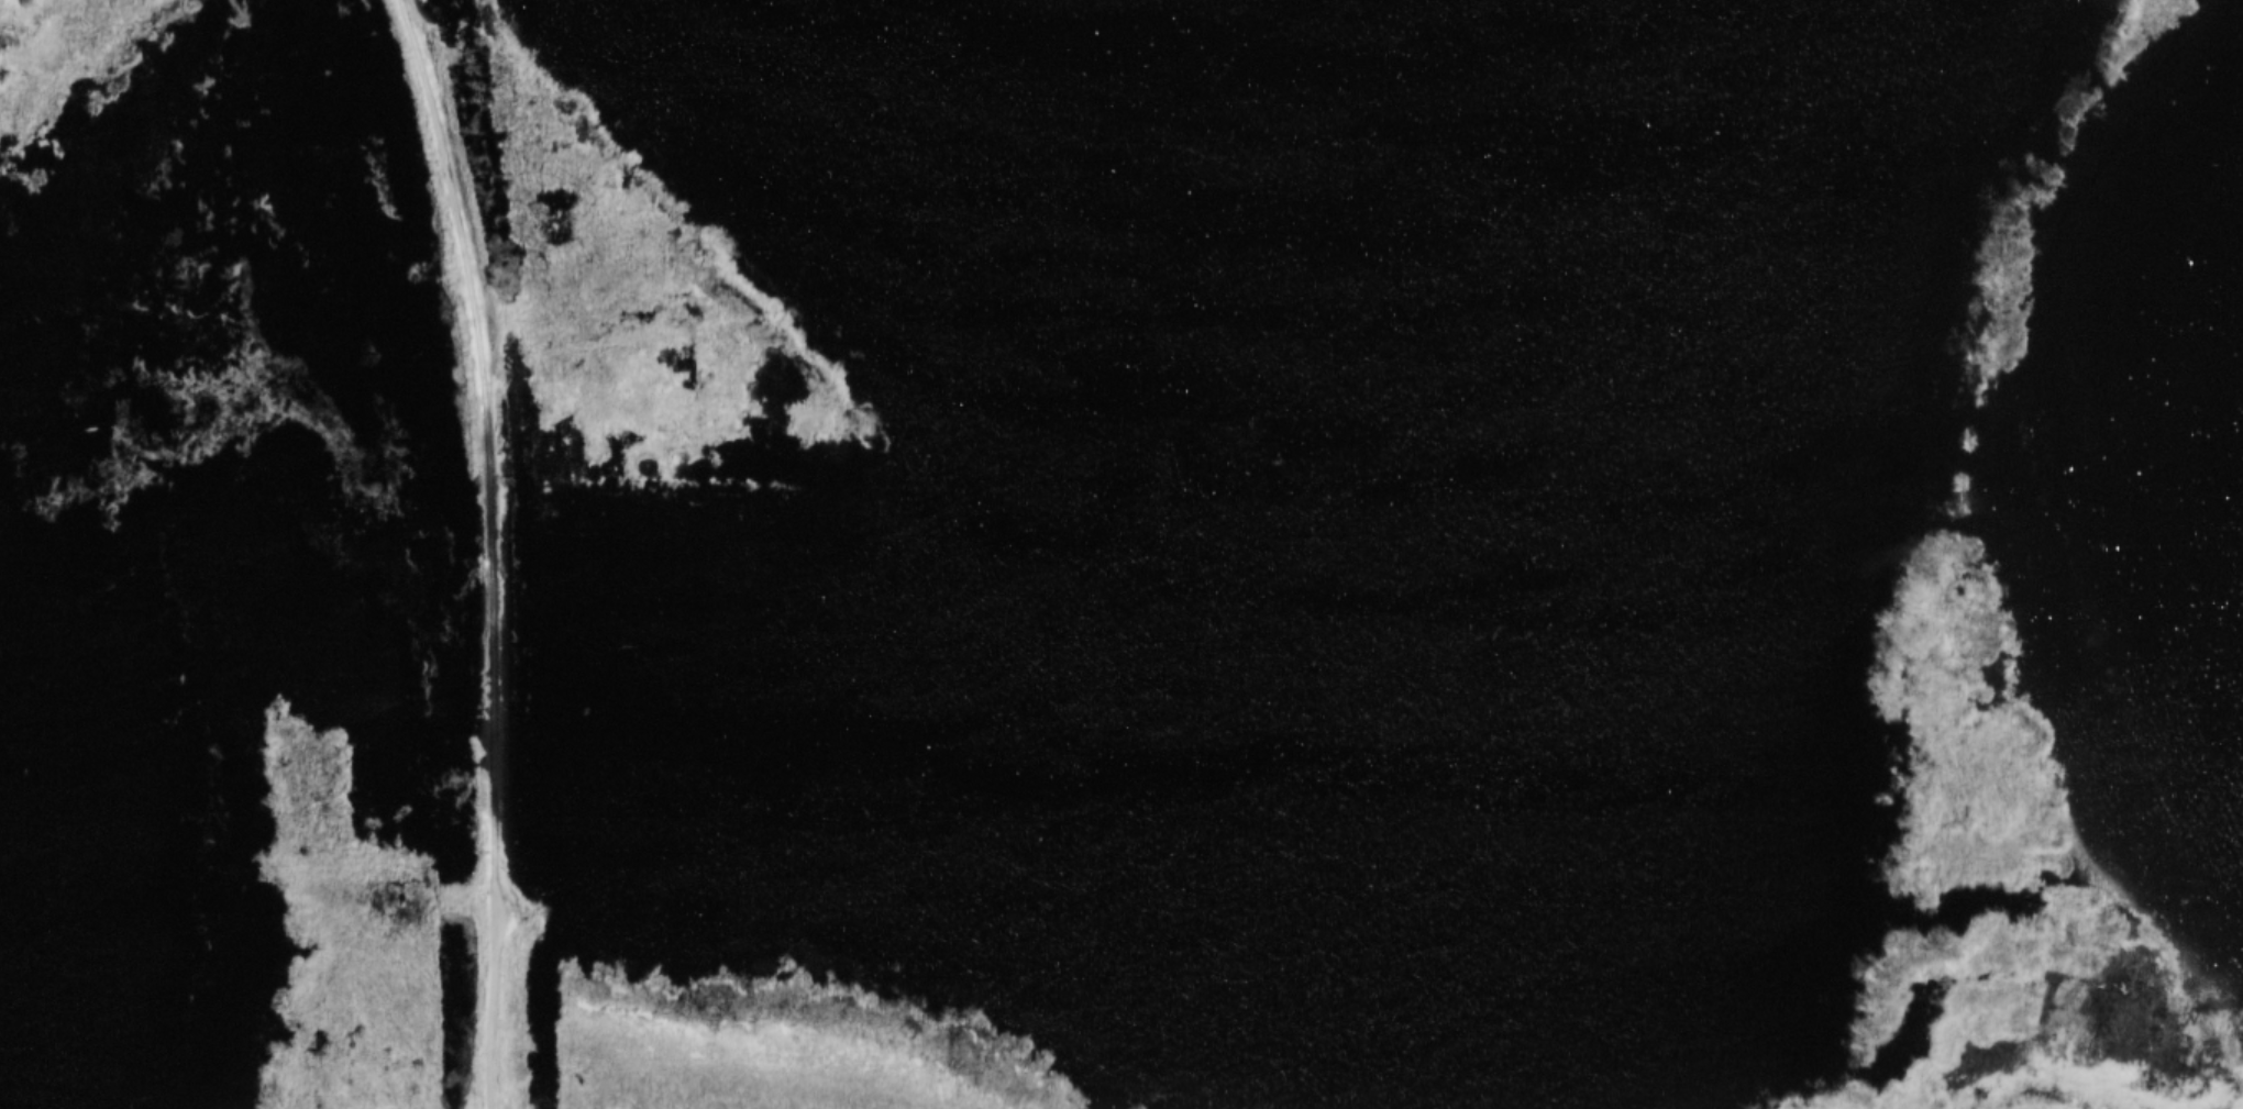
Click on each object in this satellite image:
building: (7, 31)
building: (708, 212)
road: (494, 550)

